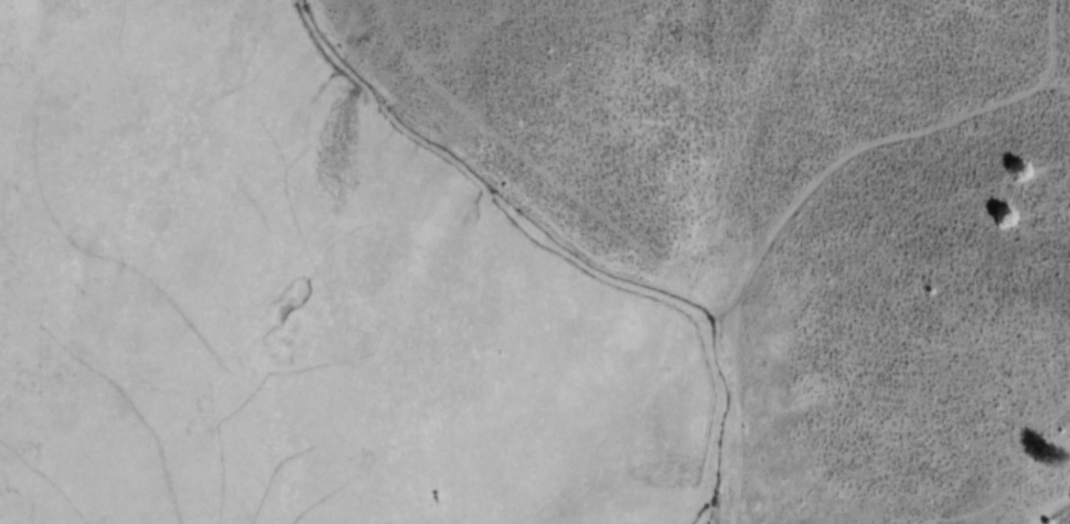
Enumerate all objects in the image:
road: (773, 203)

